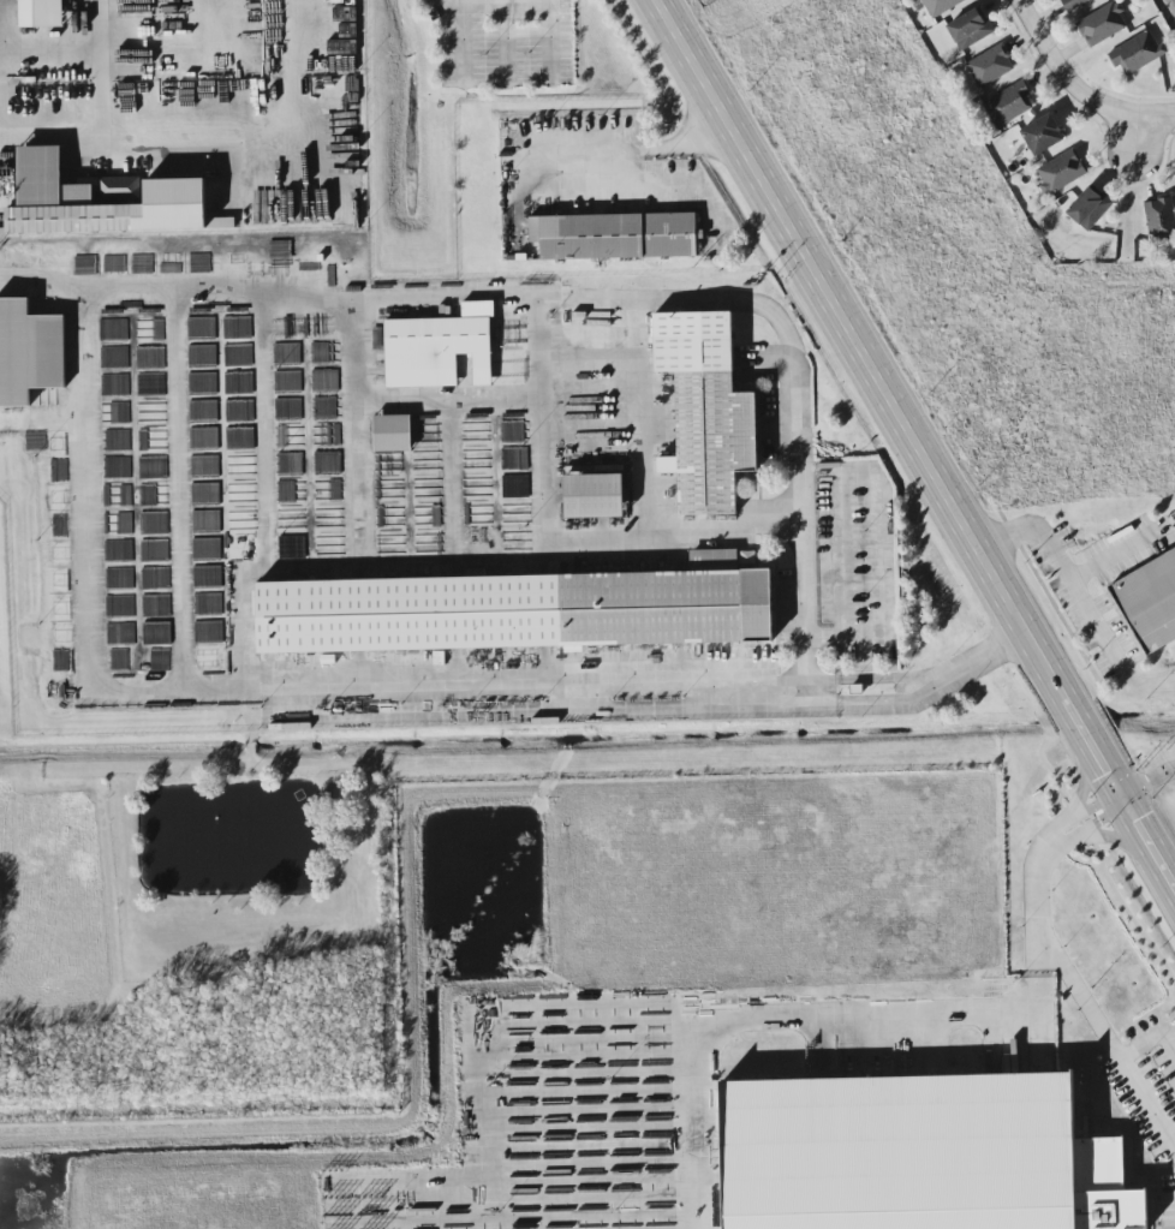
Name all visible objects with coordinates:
road: (548, 1)
building: (1073, 4)
building: (941, 5)
building: (42, 13)
building: (1102, 24)
building: (970, 29)
building: (1137, 53)
building: (991, 65)
road: (1061, 73)
building: (1008, 105)
road: (1155, 115)
building: (1043, 135)
road: (187, 137)
road: (640, 153)
building: (1060, 171)
building: (100, 201)
building: (1090, 208)
building: (1161, 217)
building: (220, 222)
building: (615, 235)
road: (43, 280)
road: (87, 318)
building: (106, 327)
building: (439, 348)
building: (29, 352)
road: (634, 396)
road: (445, 404)
building: (706, 411)
building: (393, 432)
road: (915, 442)
road: (263, 475)
road: (449, 484)
road: (180, 490)
building: (205, 493)
building: (241, 494)
building: (594, 496)
building: (243, 521)
road: (551, 531)
road: (358, 539)
road: (1114, 554)
road: (1061, 568)
building: (1150, 601)
building: (521, 609)
road: (991, 654)
road: (879, 674)
road: (881, 702)
road: (1149, 783)
road: (1043, 857)
road: (1028, 991)
road: (748, 1013)
road: (1149, 1038)
road: (1107, 1039)
building: (907, 1150)

